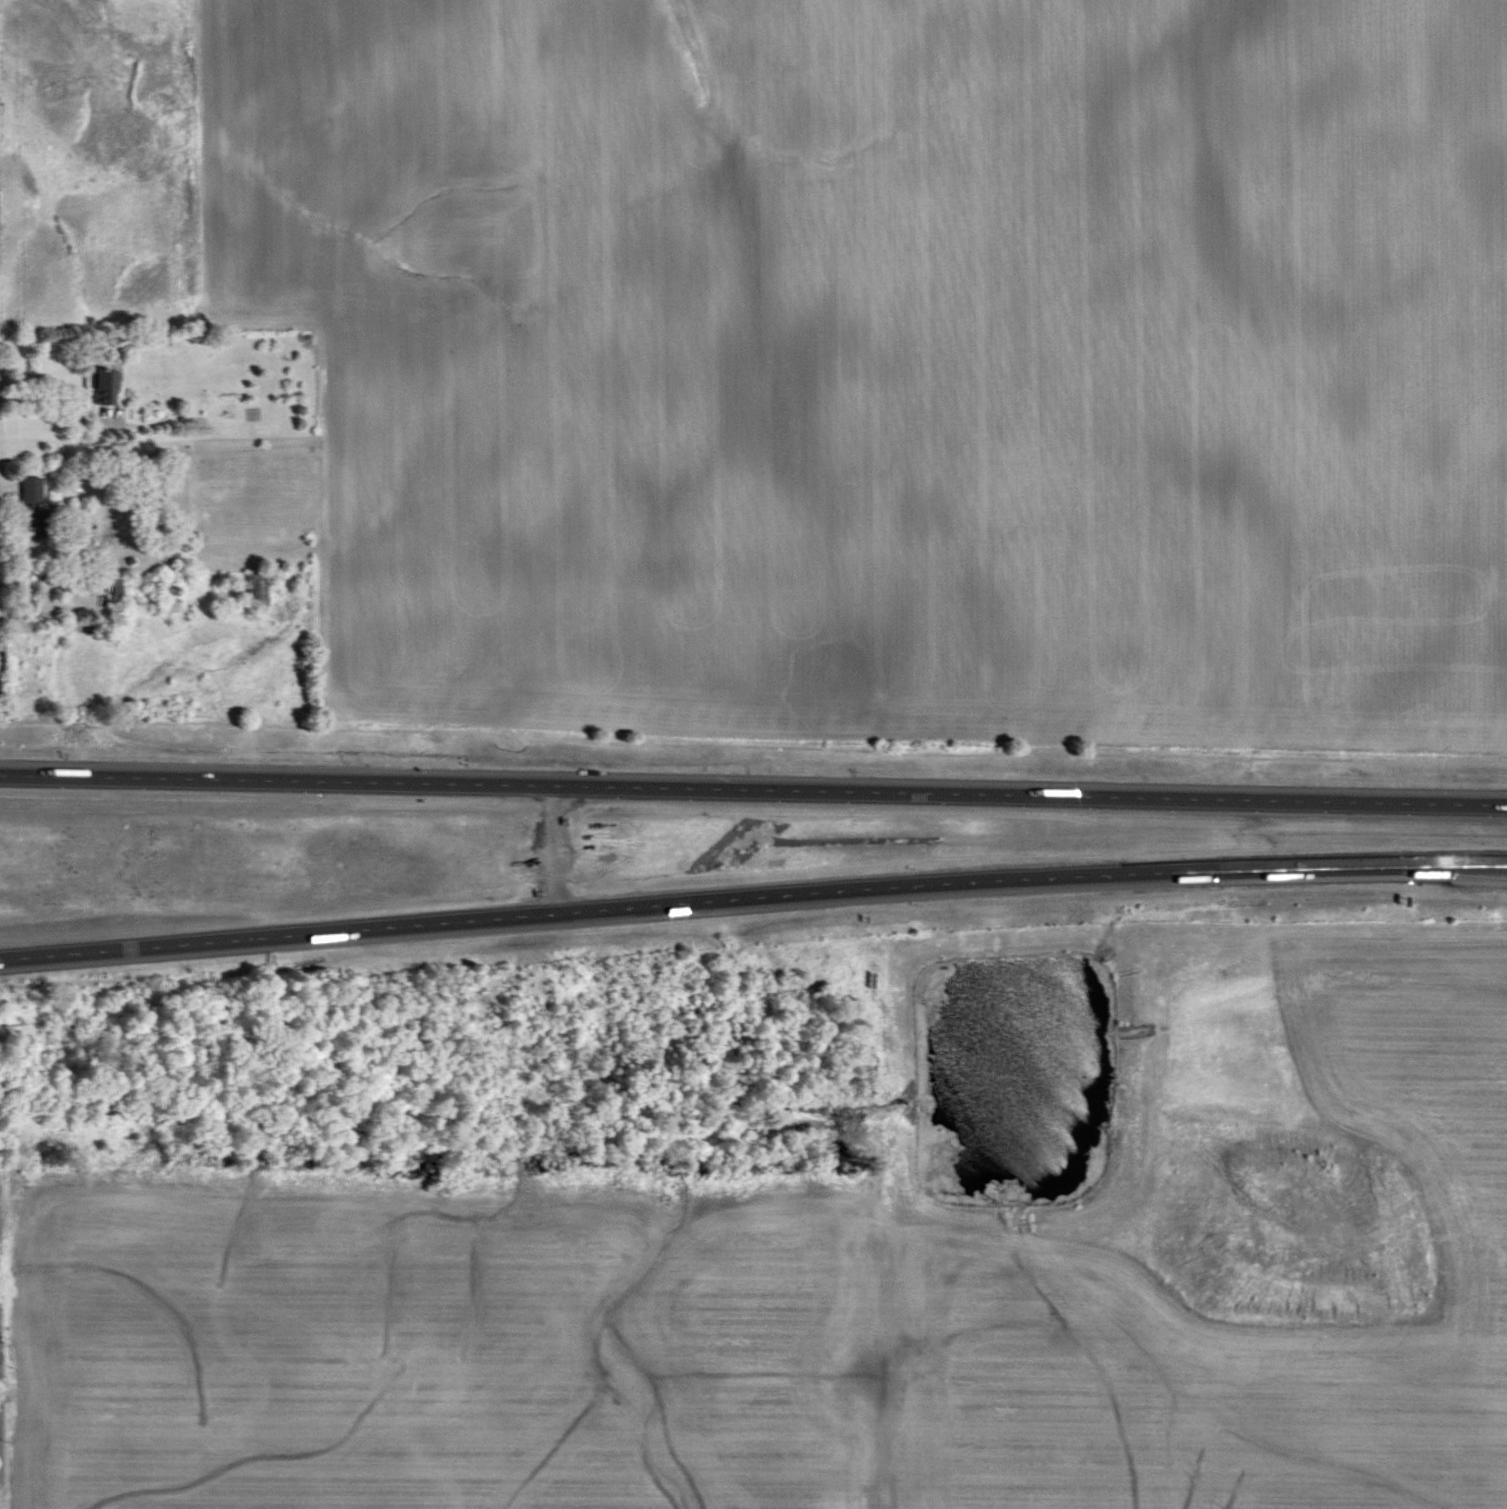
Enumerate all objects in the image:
road: (753, 790)
road: (558, 848)
road: (752, 896)

